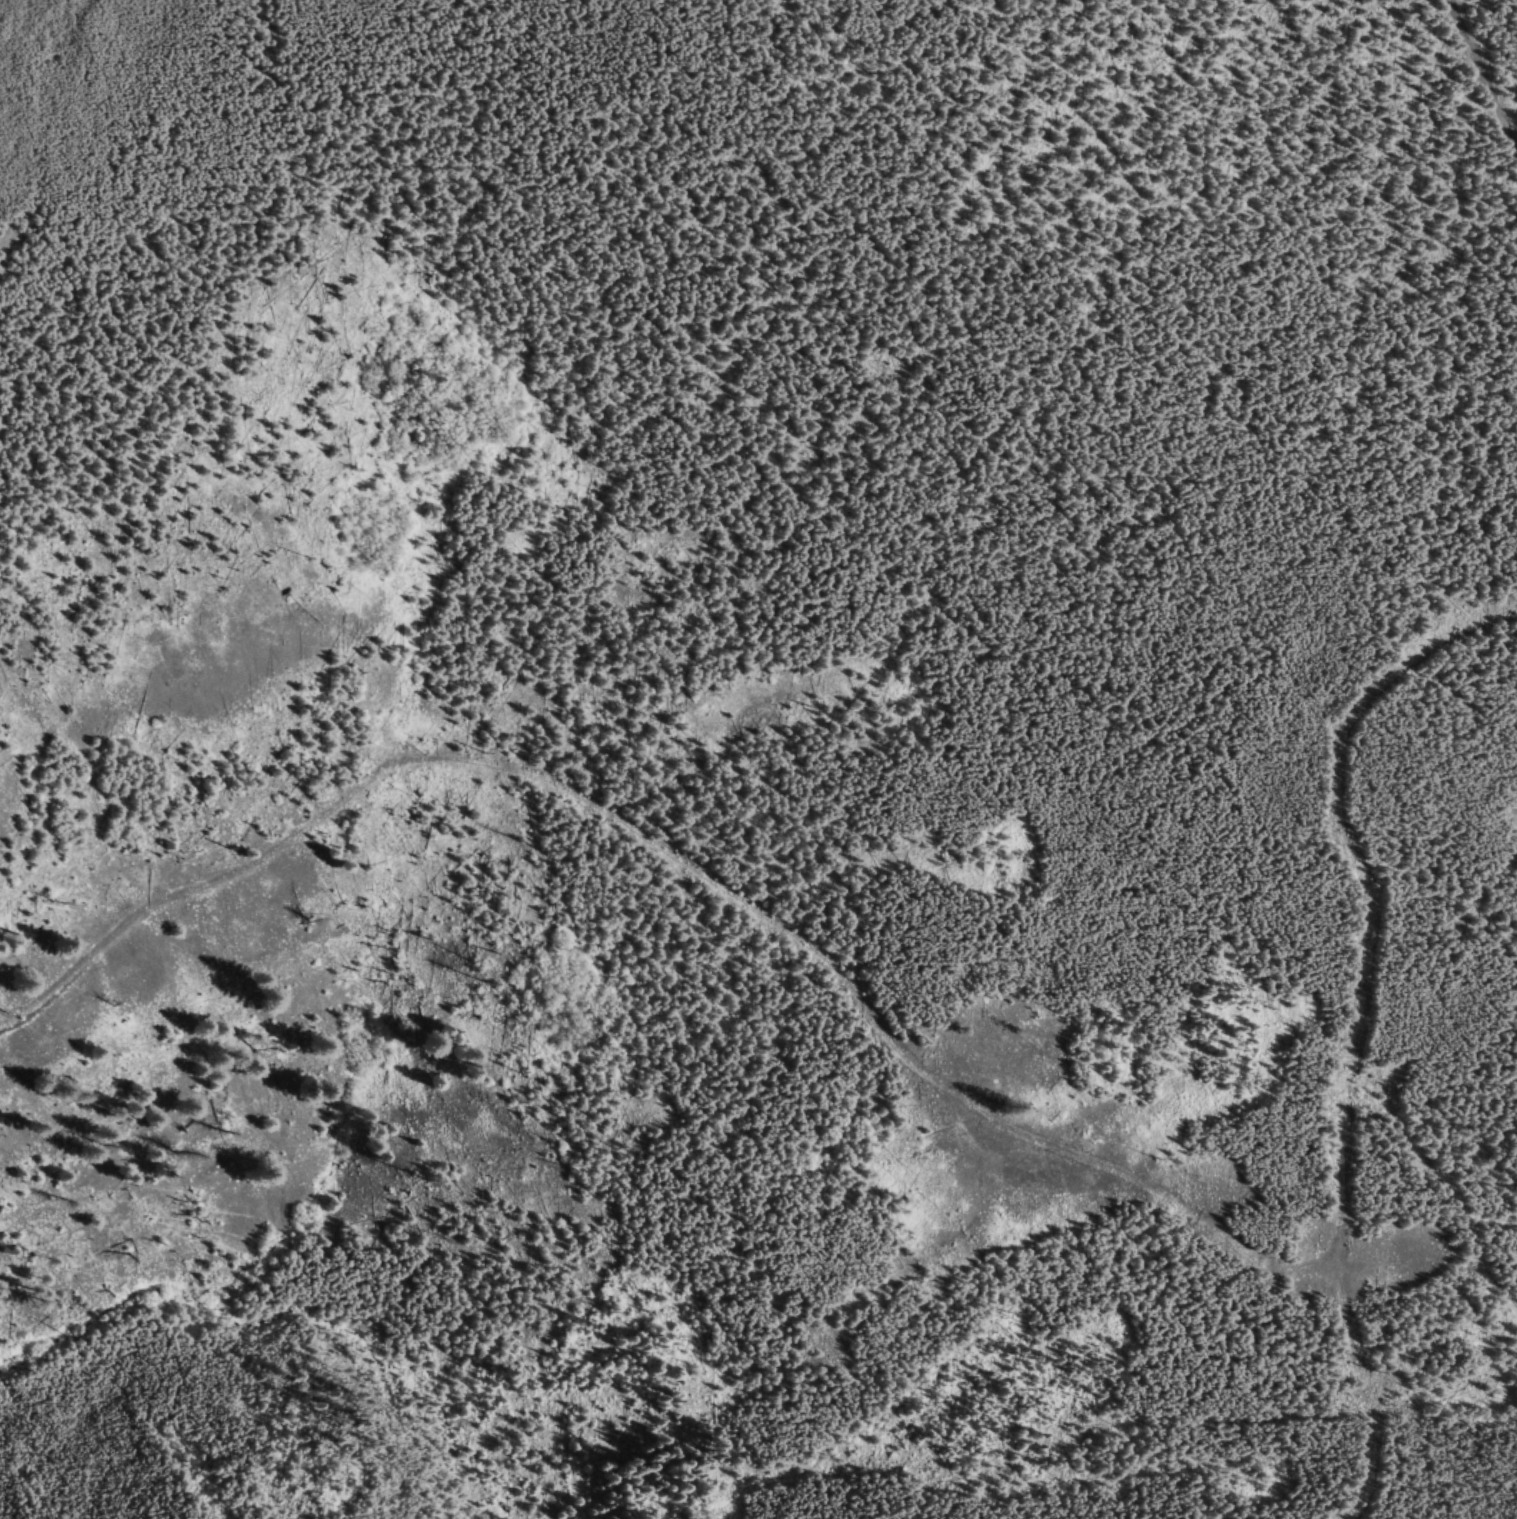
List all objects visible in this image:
road: (1478, 84)

